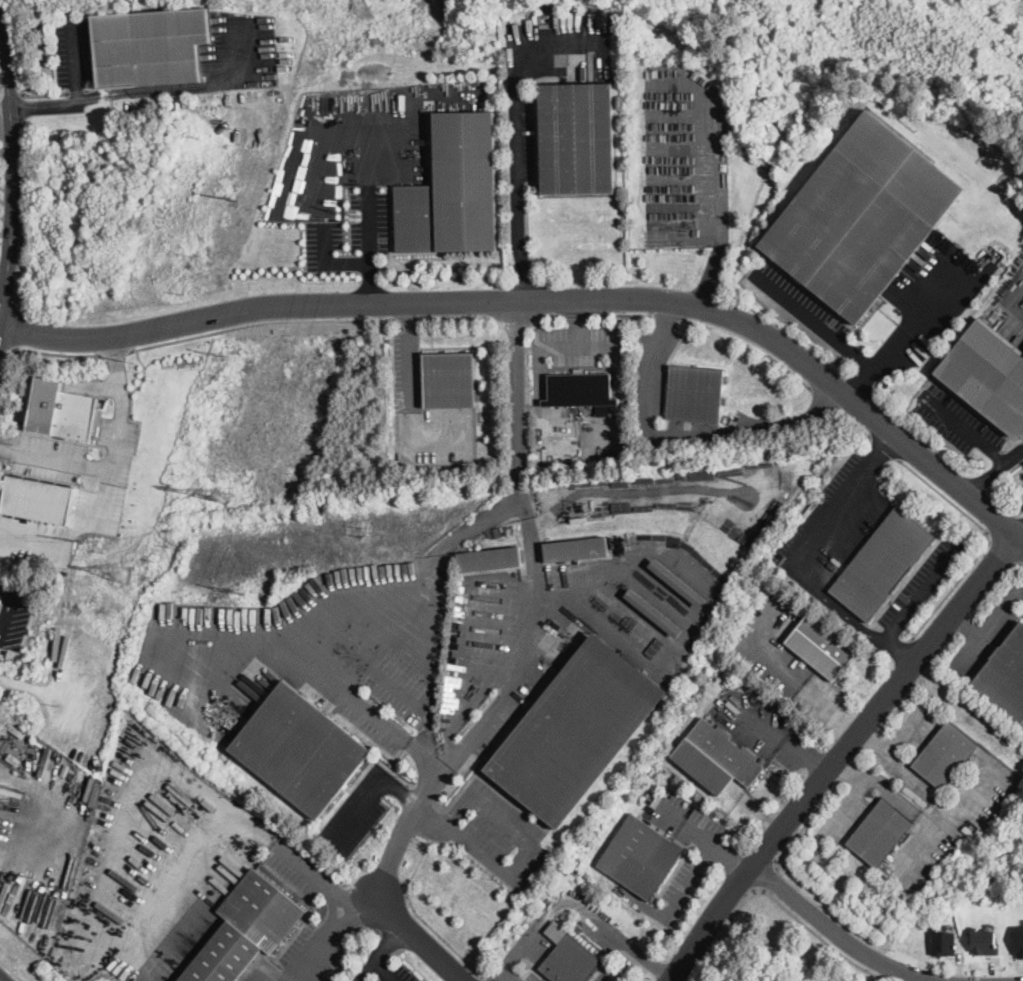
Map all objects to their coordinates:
building: (153, 45)
road: (14, 47)
parking lot: (72, 49)
road: (72, 63)
road: (76, 90)
road: (132, 90)
road: (44, 93)
road: (22, 107)
power tower: (199, 138)
building: (577, 138)
road: (713, 173)
road: (10, 174)
road: (517, 183)
building: (453, 189)
power tower: (352, 213)
road: (25, 216)
building: (861, 216)
road: (368, 244)
road: (325, 262)
road: (548, 298)
parking lot: (797, 301)
road: (620, 314)
road: (577, 315)
road: (460, 316)
road: (516, 316)
road: (551, 316)
road: (665, 316)
road: (411, 317)
road: (815, 319)
road: (915, 320)
road: (577, 321)
road: (261, 322)
road: (538, 322)
road: (12, 329)
building: (1000, 334)
building: (1017, 339)
parking lot: (576, 344)
road: (750, 344)
power tower: (221, 350)
road: (537, 350)
road: (42, 351)
road: (114, 353)
road: (410, 355)
power tower: (131, 363)
parking lot: (406, 370)
building: (988, 376)
parking lot: (650, 378)
building: (449, 380)
road: (862, 385)
building: (580, 391)
building: (695, 394)
road: (519, 397)
road: (117, 402)
road: (131, 402)
building: (969, 405)
building: (60, 409)
parking lot: (955, 421)
road: (963, 427)
parking lot: (436, 436)
road: (682, 438)
road: (55, 460)
power tower: (980, 461)
road: (991, 468)
road: (631, 489)
road: (105, 495)
power tower: (220, 495)
road: (844, 497)
building: (37, 498)
parking lot: (1021, 502)
power tower: (583, 503)
parking lot: (830, 524)
power tower: (362, 528)
road: (1019, 530)
road: (987, 539)
power tower: (81, 541)
building: (576, 549)
road: (1004, 549)
power tower: (163, 550)
road: (439, 550)
building: (490, 559)
building: (881, 563)
road: (795, 564)
power tower: (119, 572)
parking lot: (922, 581)
building: (677, 582)
road: (995, 586)
power tower: (240, 589)
road: (918, 596)
building: (0, 599)
road: (829, 599)
building: (0, 600)
road: (712, 602)
road: (9, 607)
building: (654, 613)
parking lot: (1022, 613)
road: (963, 624)
road: (964, 624)
road: (987, 624)
road: (168, 631)
parking lot: (986, 633)
road: (527, 647)
building: (822, 647)
road: (886, 649)
parking lot: (786, 658)
road: (785, 674)
building: (1005, 676)
road: (921, 679)
road: (433, 683)
road: (396, 688)
road: (365, 708)
parking lot: (374, 721)
parking lot: (916, 723)
parking lot: (761, 727)
road: (905, 727)
building: (17, 731)
building: (576, 731)
road: (787, 740)
building: (300, 750)
road: (838, 753)
building: (944, 754)
building: (717, 758)
building: (14, 760)
building: (44, 761)
road: (903, 770)
road: (436, 772)
road: (154, 777)
road: (888, 788)
road: (403, 789)
road: (843, 804)
parking lot: (359, 809)
road: (361, 810)
parking lot: (841, 815)
road: (944, 818)
parking lot: (954, 822)
road: (803, 824)
building: (968, 829)
building: (879, 832)
parking lot: (496, 833)
road: (704, 835)
building: (640, 855)
parking lot: (706, 857)
road: (524, 860)
power tower: (28, 873)
road: (764, 876)
road: (379, 890)
road: (776, 901)
road: (366, 902)
road: (575, 904)
road: (674, 904)
road: (419, 916)
building: (246, 929)
parking lot: (600, 929)
road: (841, 934)
parking lot: (536, 935)
road: (386, 940)
building: (1019, 940)
building: (984, 941)
building: (944, 943)
road: (323, 944)
building: (570, 961)
road: (11, 969)
road: (363, 971)
road: (382, 971)
parking lot: (611, 973)
road: (509, 974)
parking lot: (398, 975)
road: (615, 976)
parking lot: (532, 977)
road: (484, 978)
road: (0, 980)

